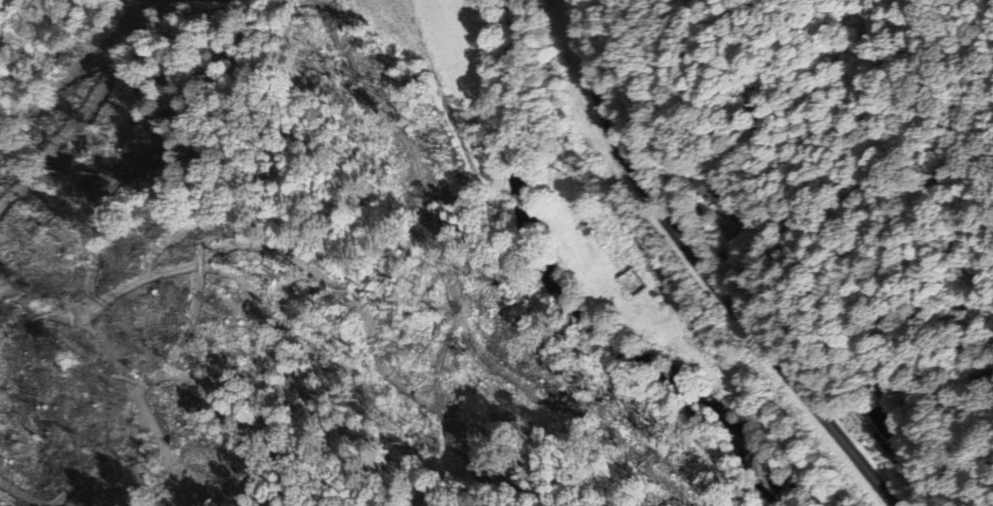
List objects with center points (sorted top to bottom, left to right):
building: (712, 192)
road: (706, 268)
building: (880, 418)

